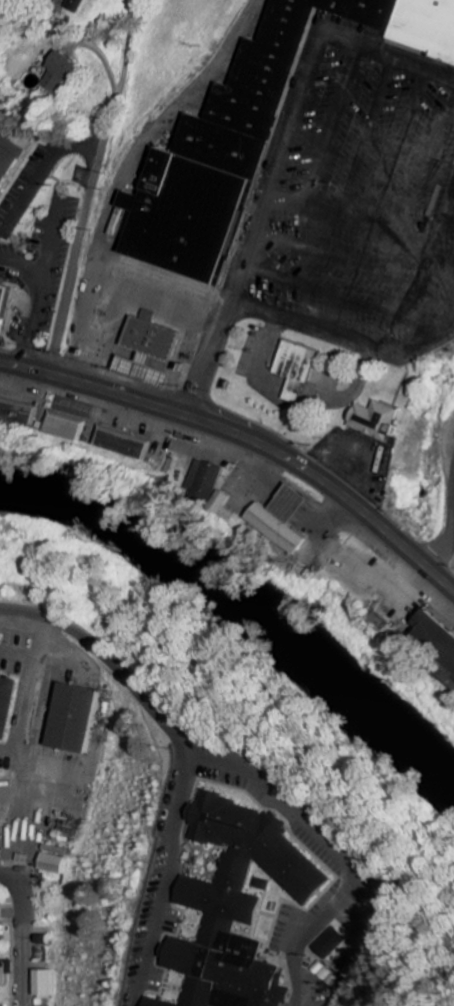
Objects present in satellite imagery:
building: (81, 6)
road: (90, 47)
building: (66, 74)
road: (298, 103)
building: (219, 147)
building: (9, 165)
road: (92, 185)
building: (191, 196)
building: (6, 302)
road: (383, 346)
building: (154, 352)
road: (212, 358)
building: (299, 370)
building: (20, 414)
building: (379, 421)
building: (68, 428)
road: (248, 438)
building: (127, 444)
building: (211, 477)
building: (288, 520)
river: (248, 595)
road: (105, 649)
building: (8, 705)
building: (80, 718)
road: (224, 764)
building: (59, 860)
building: (240, 904)
building: (47, 941)
building: (332, 943)
building: (5, 961)
building: (325, 974)
building: (47, 984)
building: (161, 1003)

